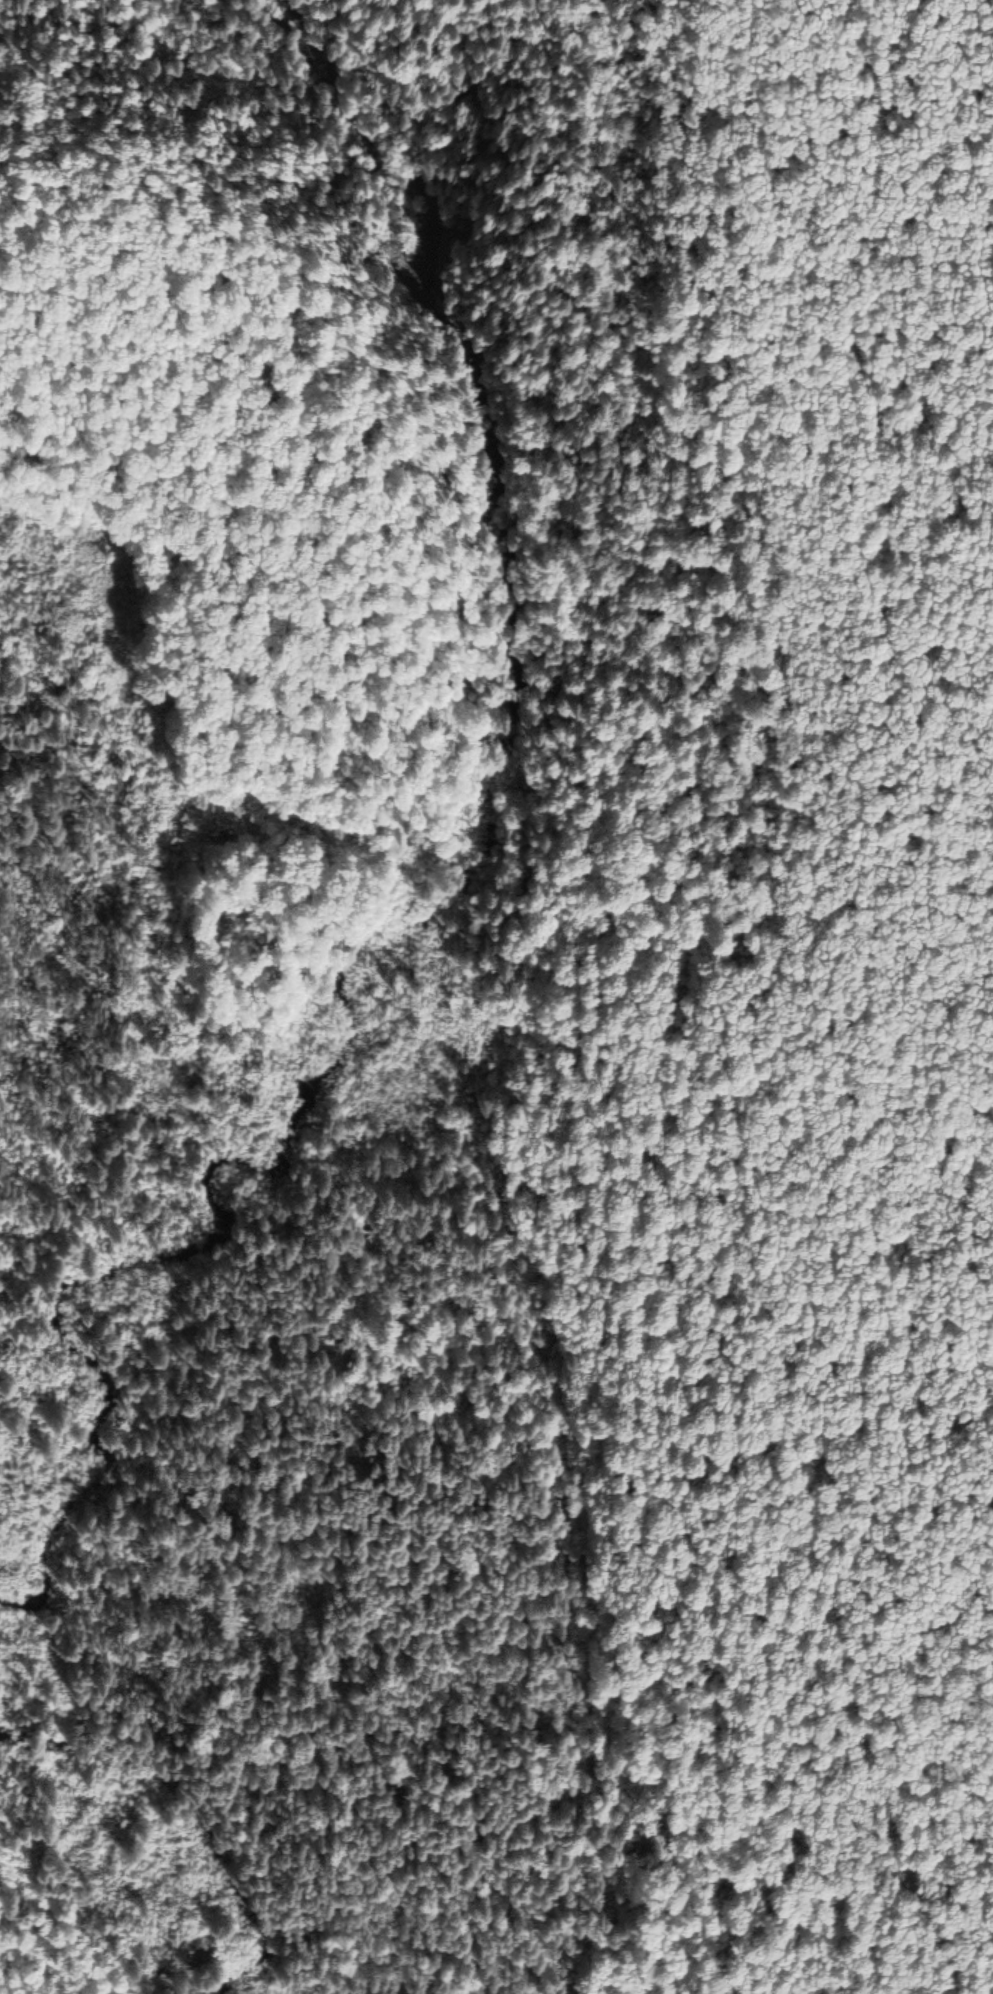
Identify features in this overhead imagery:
river: (306, 19)
road: (199, 229)
road: (303, 235)
river: (506, 515)
river: (265, 1174)
river: (119, 1497)
river: (172, 1789)

